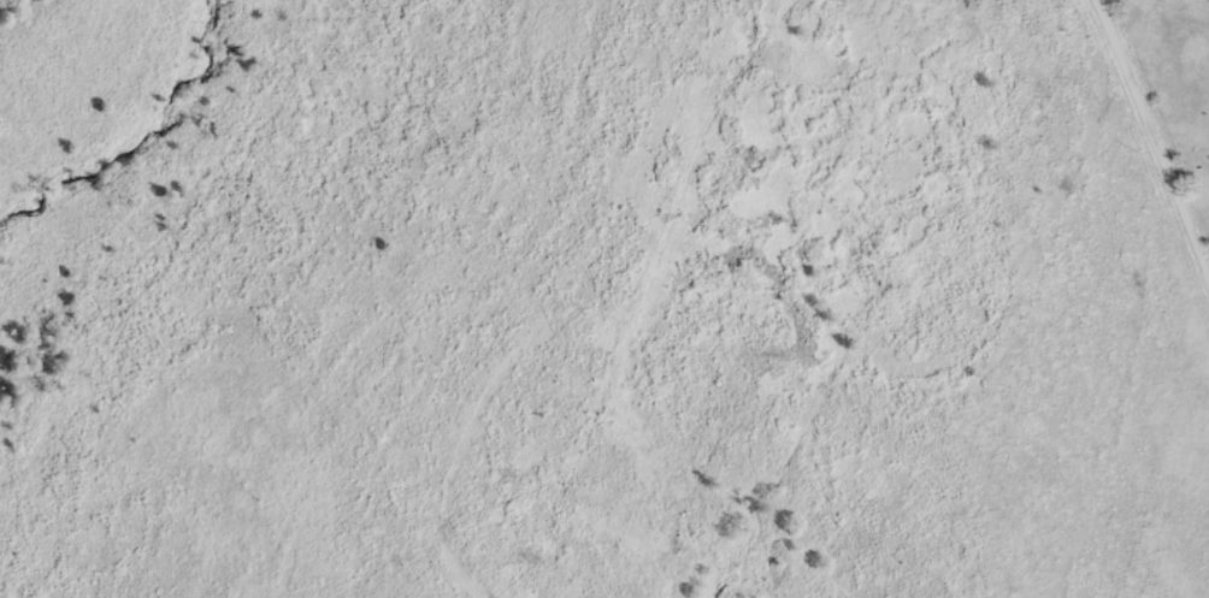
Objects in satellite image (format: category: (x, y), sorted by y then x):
road: (1154, 126)

